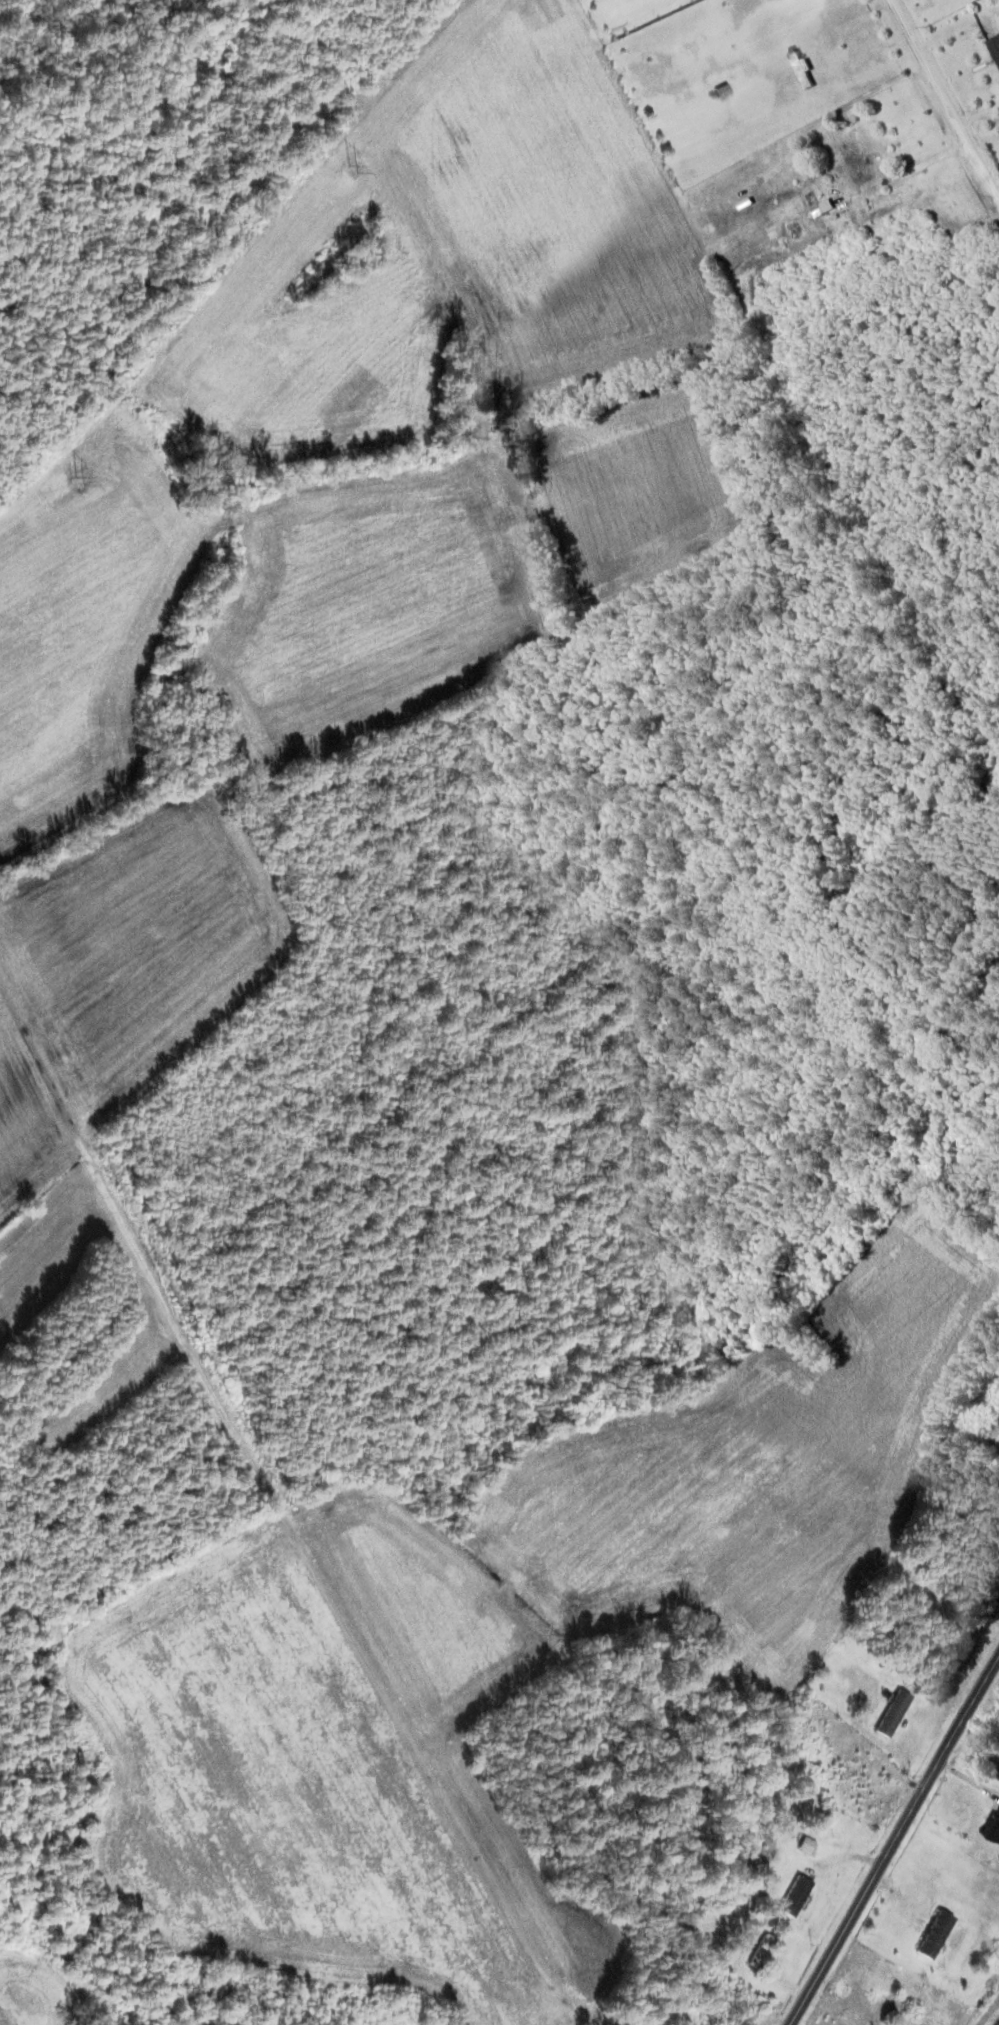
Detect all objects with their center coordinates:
building: (622, 16)
building: (993, 52)
building: (797, 71)
road: (941, 105)
building: (848, 164)
power tower: (357, 171)
power tower: (84, 481)
building: (899, 1713)
building: (811, 1715)
building: (864, 1769)
building: (996, 1830)
road: (895, 1842)
building: (800, 1895)
building: (942, 1934)
road: (988, 2010)
building: (450, 2017)

